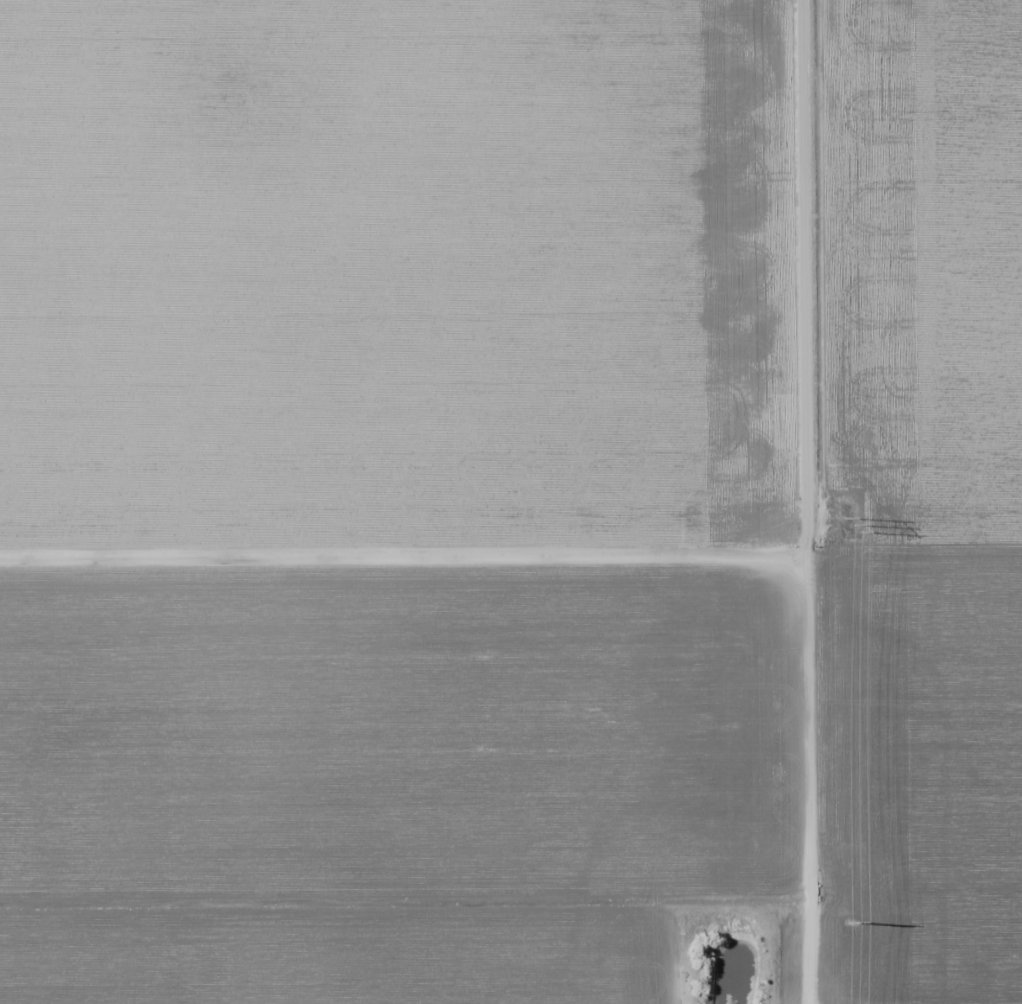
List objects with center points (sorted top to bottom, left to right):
road: (788, 502)
power tower: (853, 520)
power tower: (854, 920)

